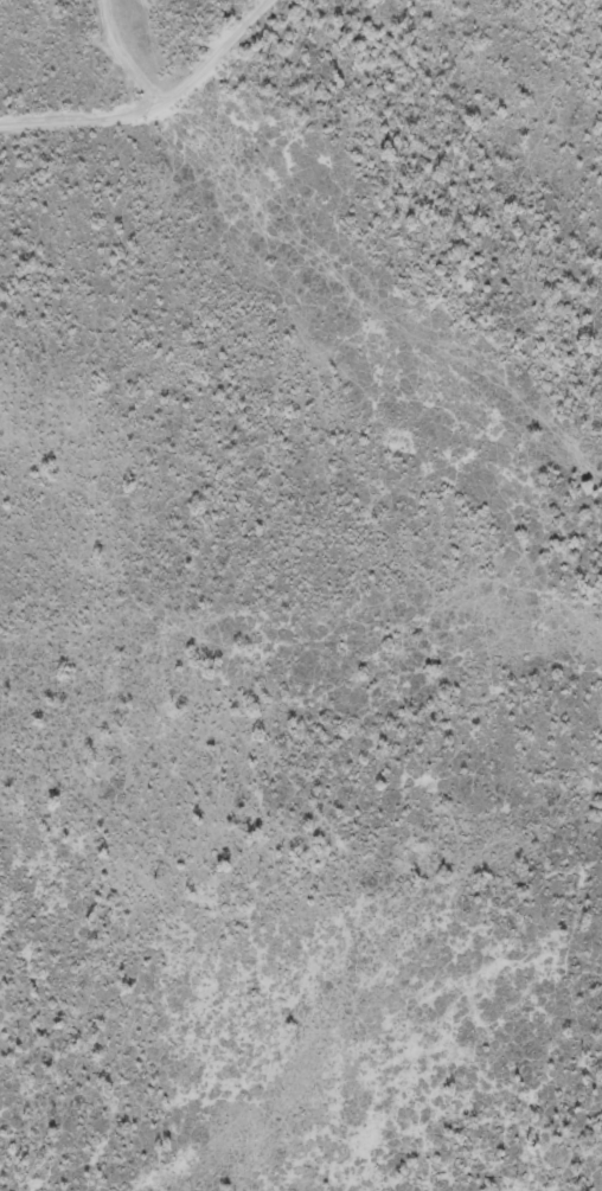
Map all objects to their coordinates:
road: (179, 102)

